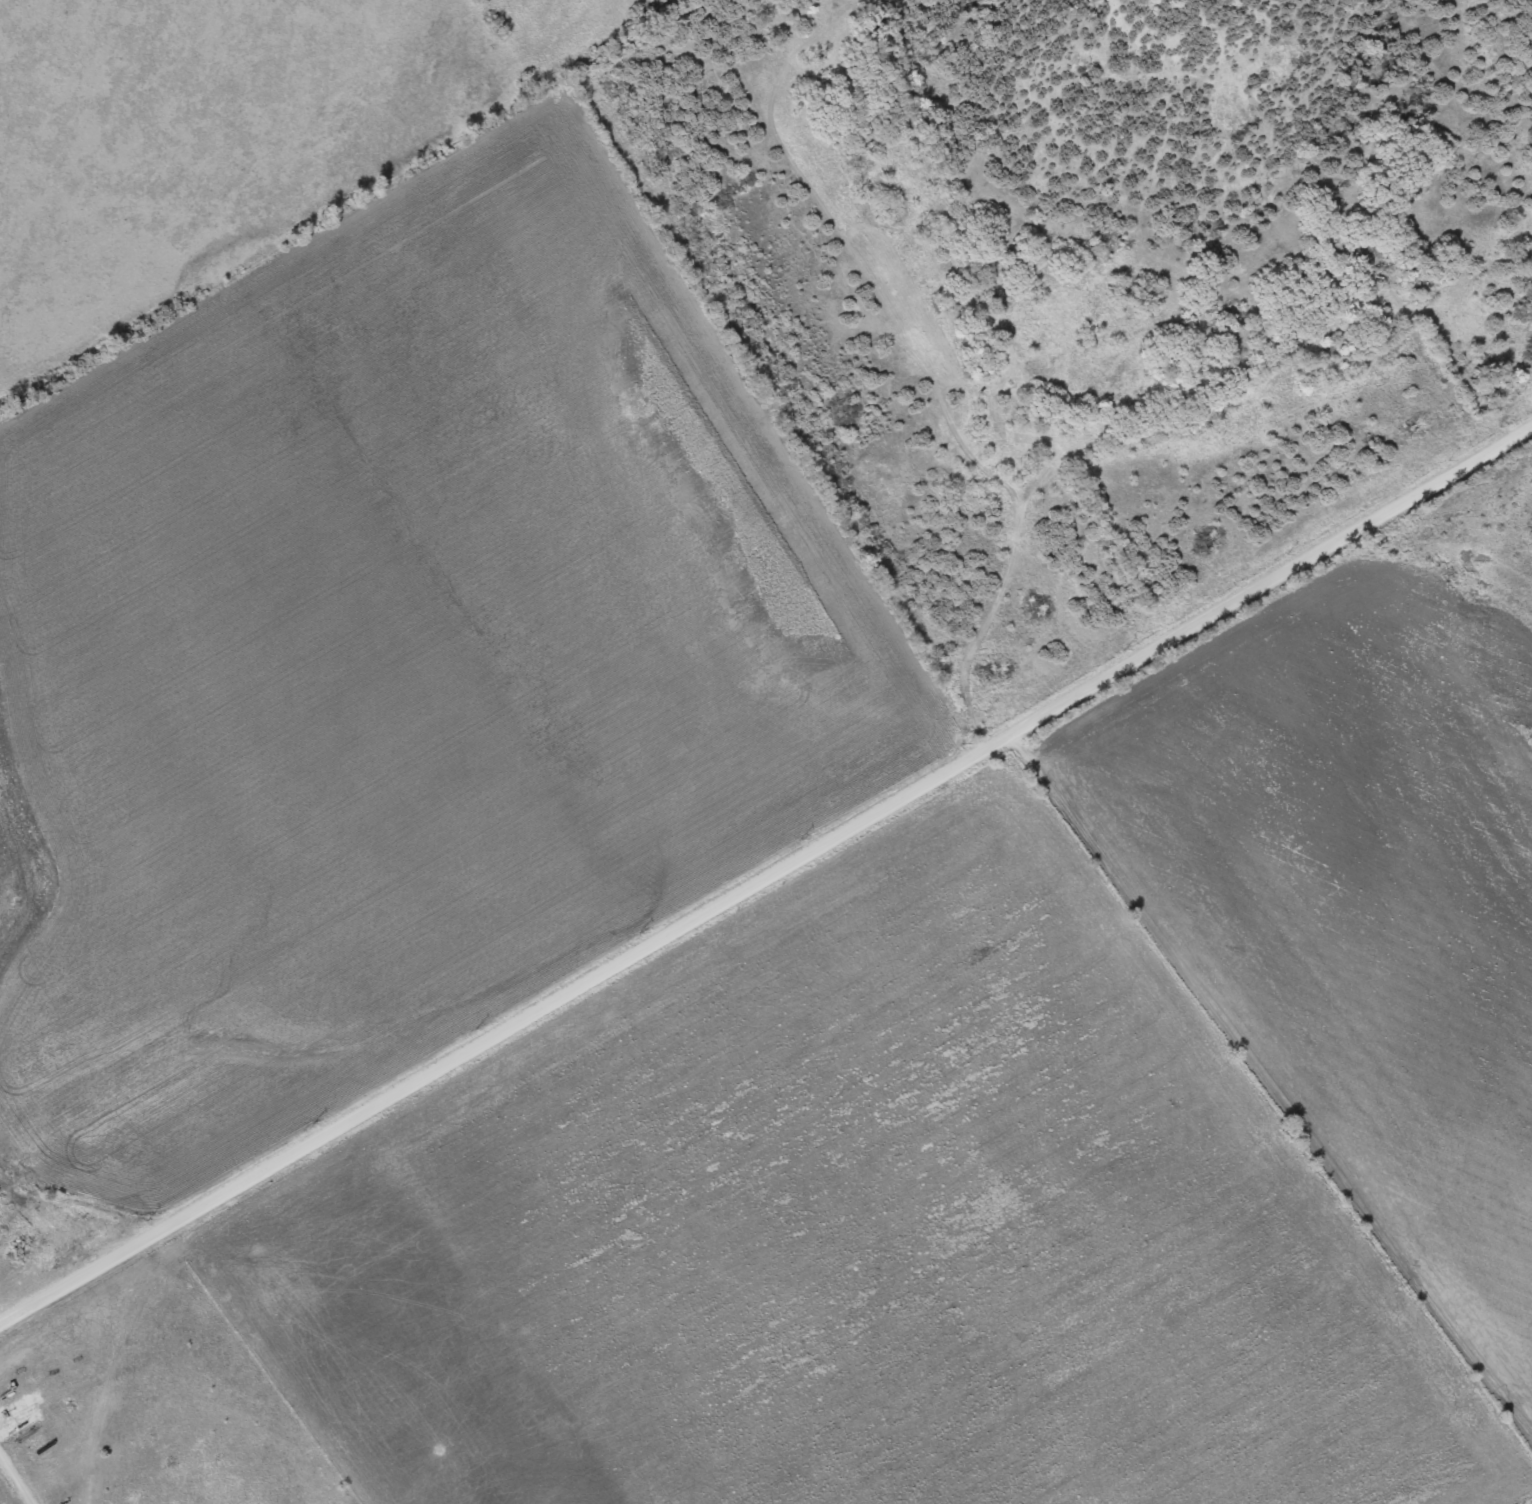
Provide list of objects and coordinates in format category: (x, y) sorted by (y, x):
building: (1105, 242)
road: (767, 882)
road: (8, 1485)

